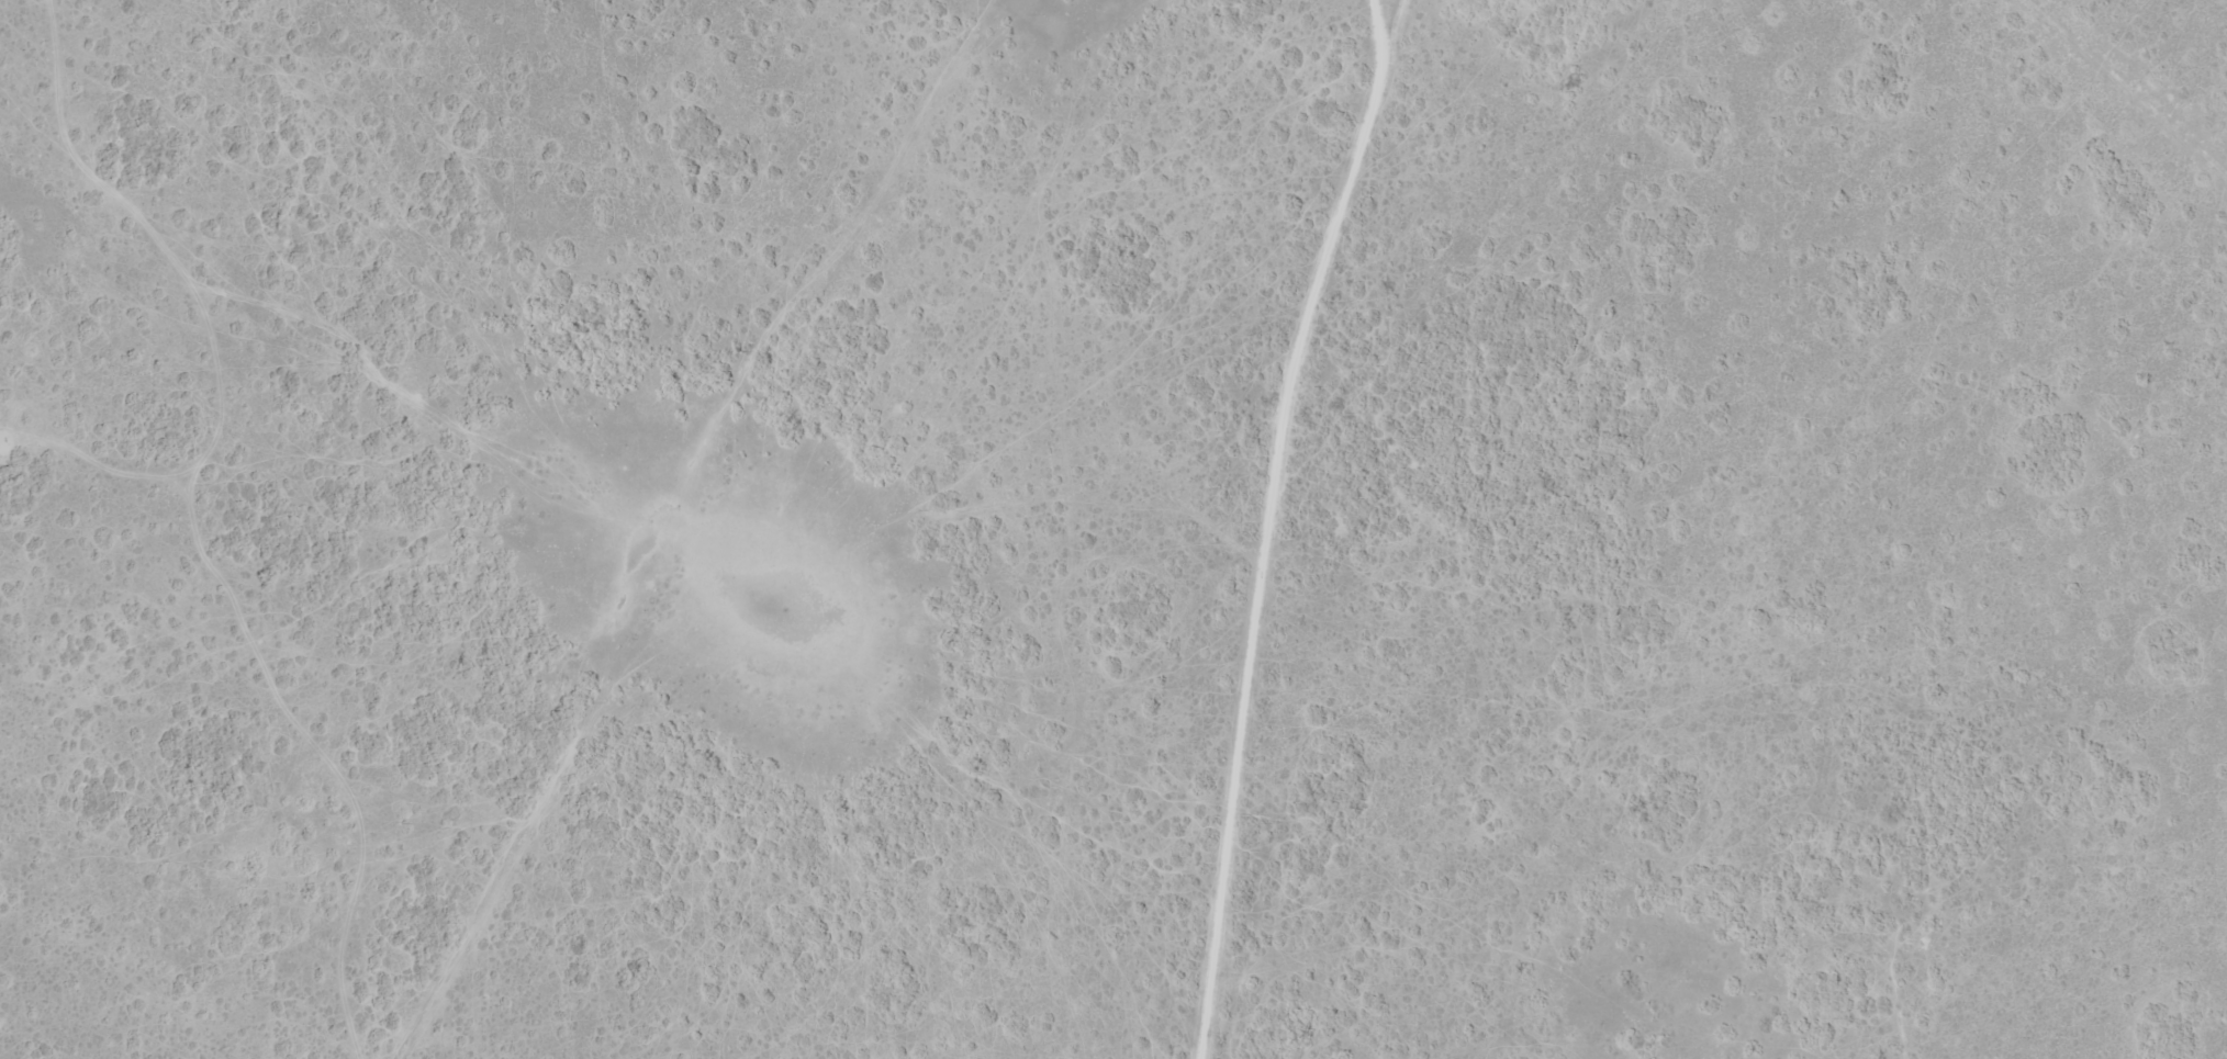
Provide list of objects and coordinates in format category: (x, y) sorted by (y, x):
road: (1291, 528)

